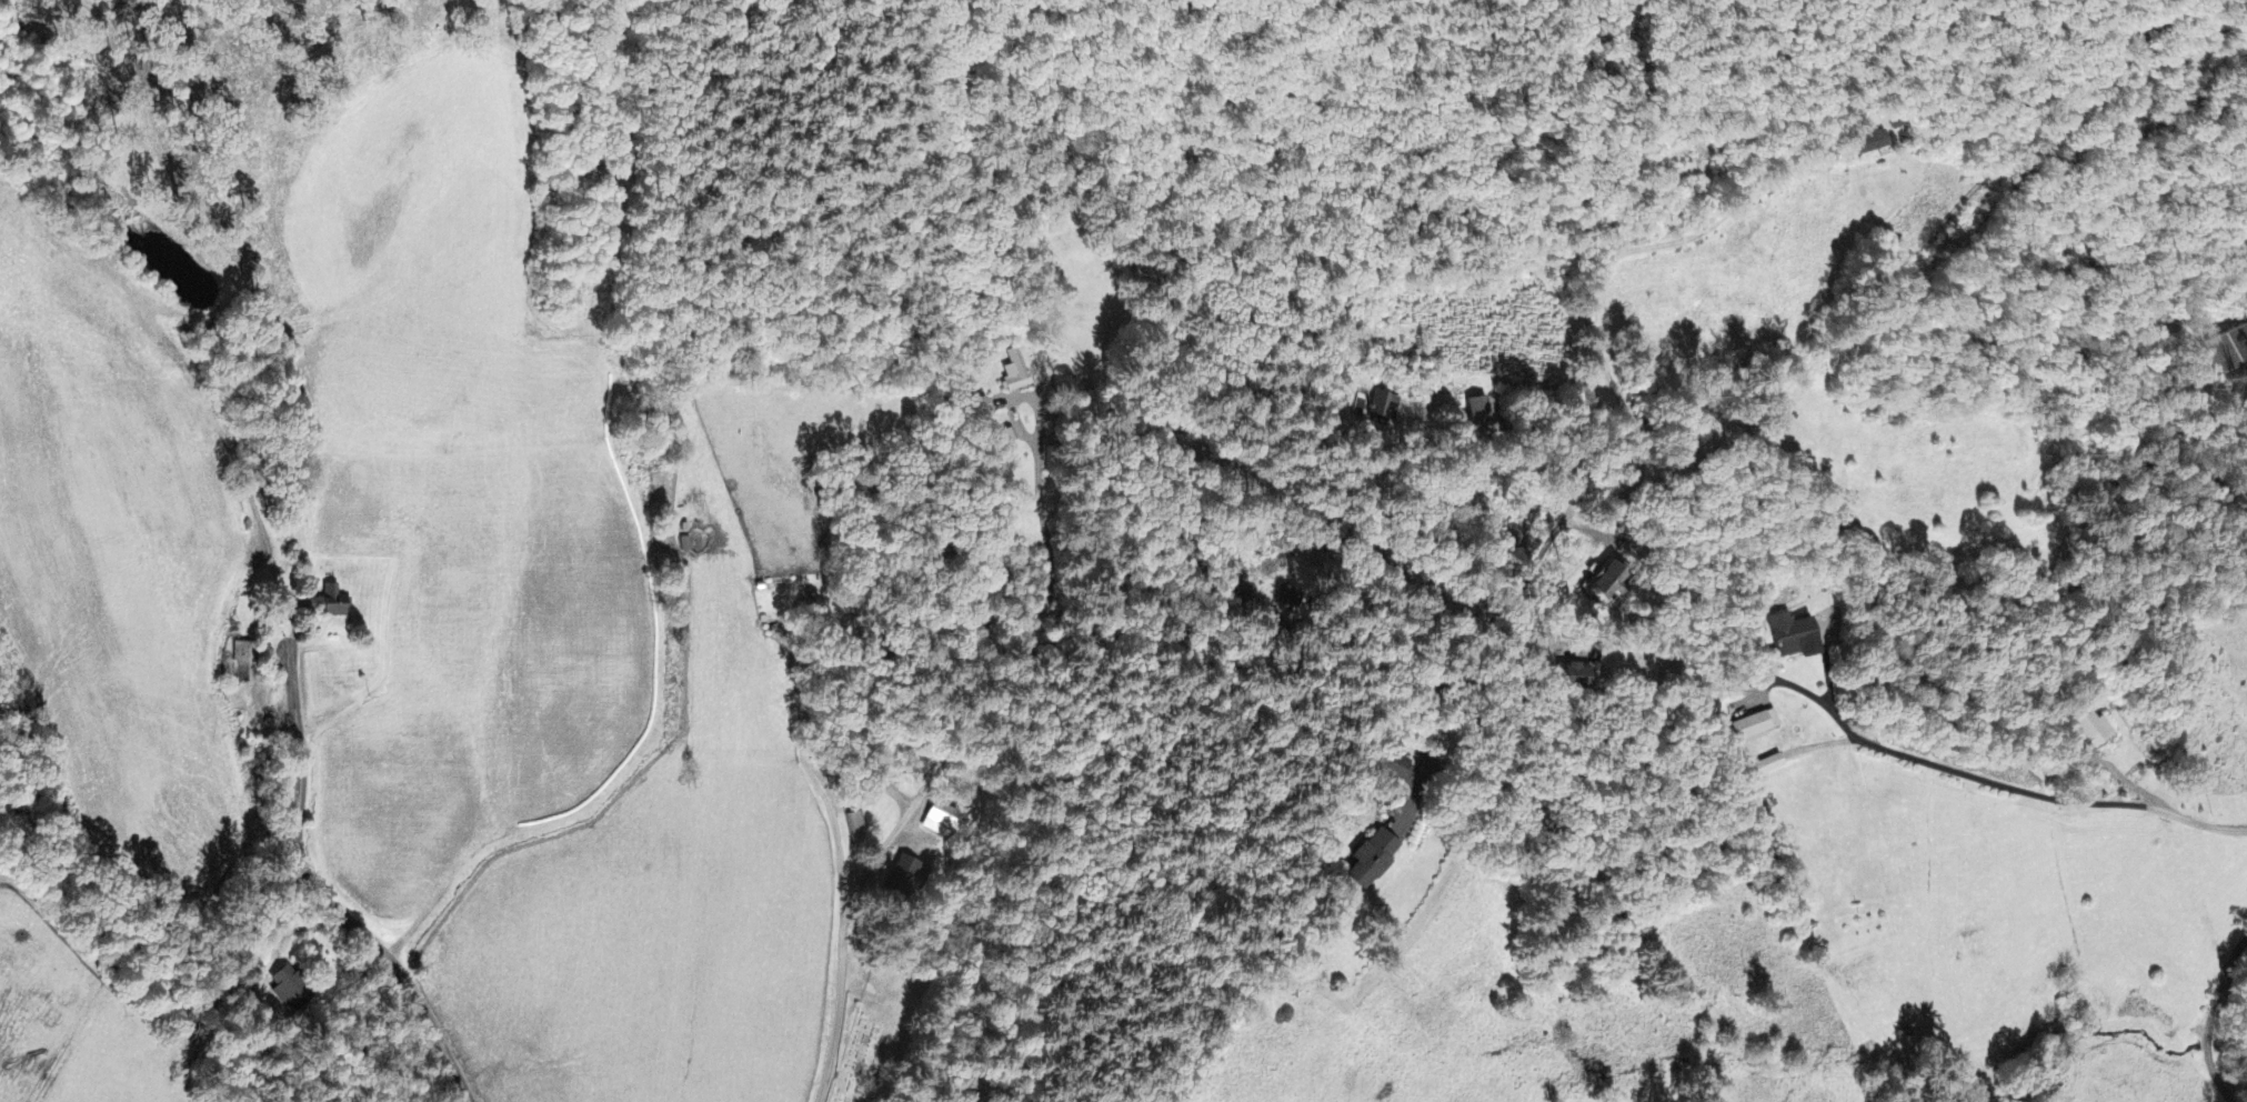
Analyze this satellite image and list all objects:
building: (1870, 144)
road: (1616, 251)
road: (1878, 272)
building: (2226, 352)
building: (1019, 378)
building: (1385, 409)
building: (1482, 409)
road: (1551, 439)
building: (1613, 583)
building: (1290, 600)
building: (333, 605)
road: (1111, 633)
building: (1793, 640)
building: (245, 663)
building: (1575, 678)
building: (1756, 728)
building: (2088, 737)
building: (1764, 768)
building: (1400, 769)
road: (2045, 788)
building: (941, 822)
building: (1373, 861)
building: (905, 880)
road: (170, 976)
building: (292, 990)
road: (424, 1011)
road: (2209, 1014)
park: (881, 1035)

